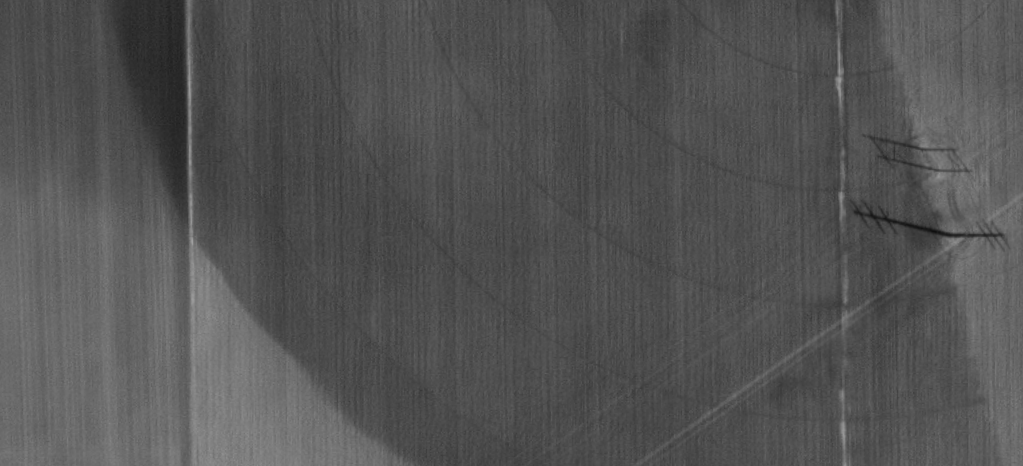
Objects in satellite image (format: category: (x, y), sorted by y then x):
power tower: (927, 158)
power tower: (956, 225)

